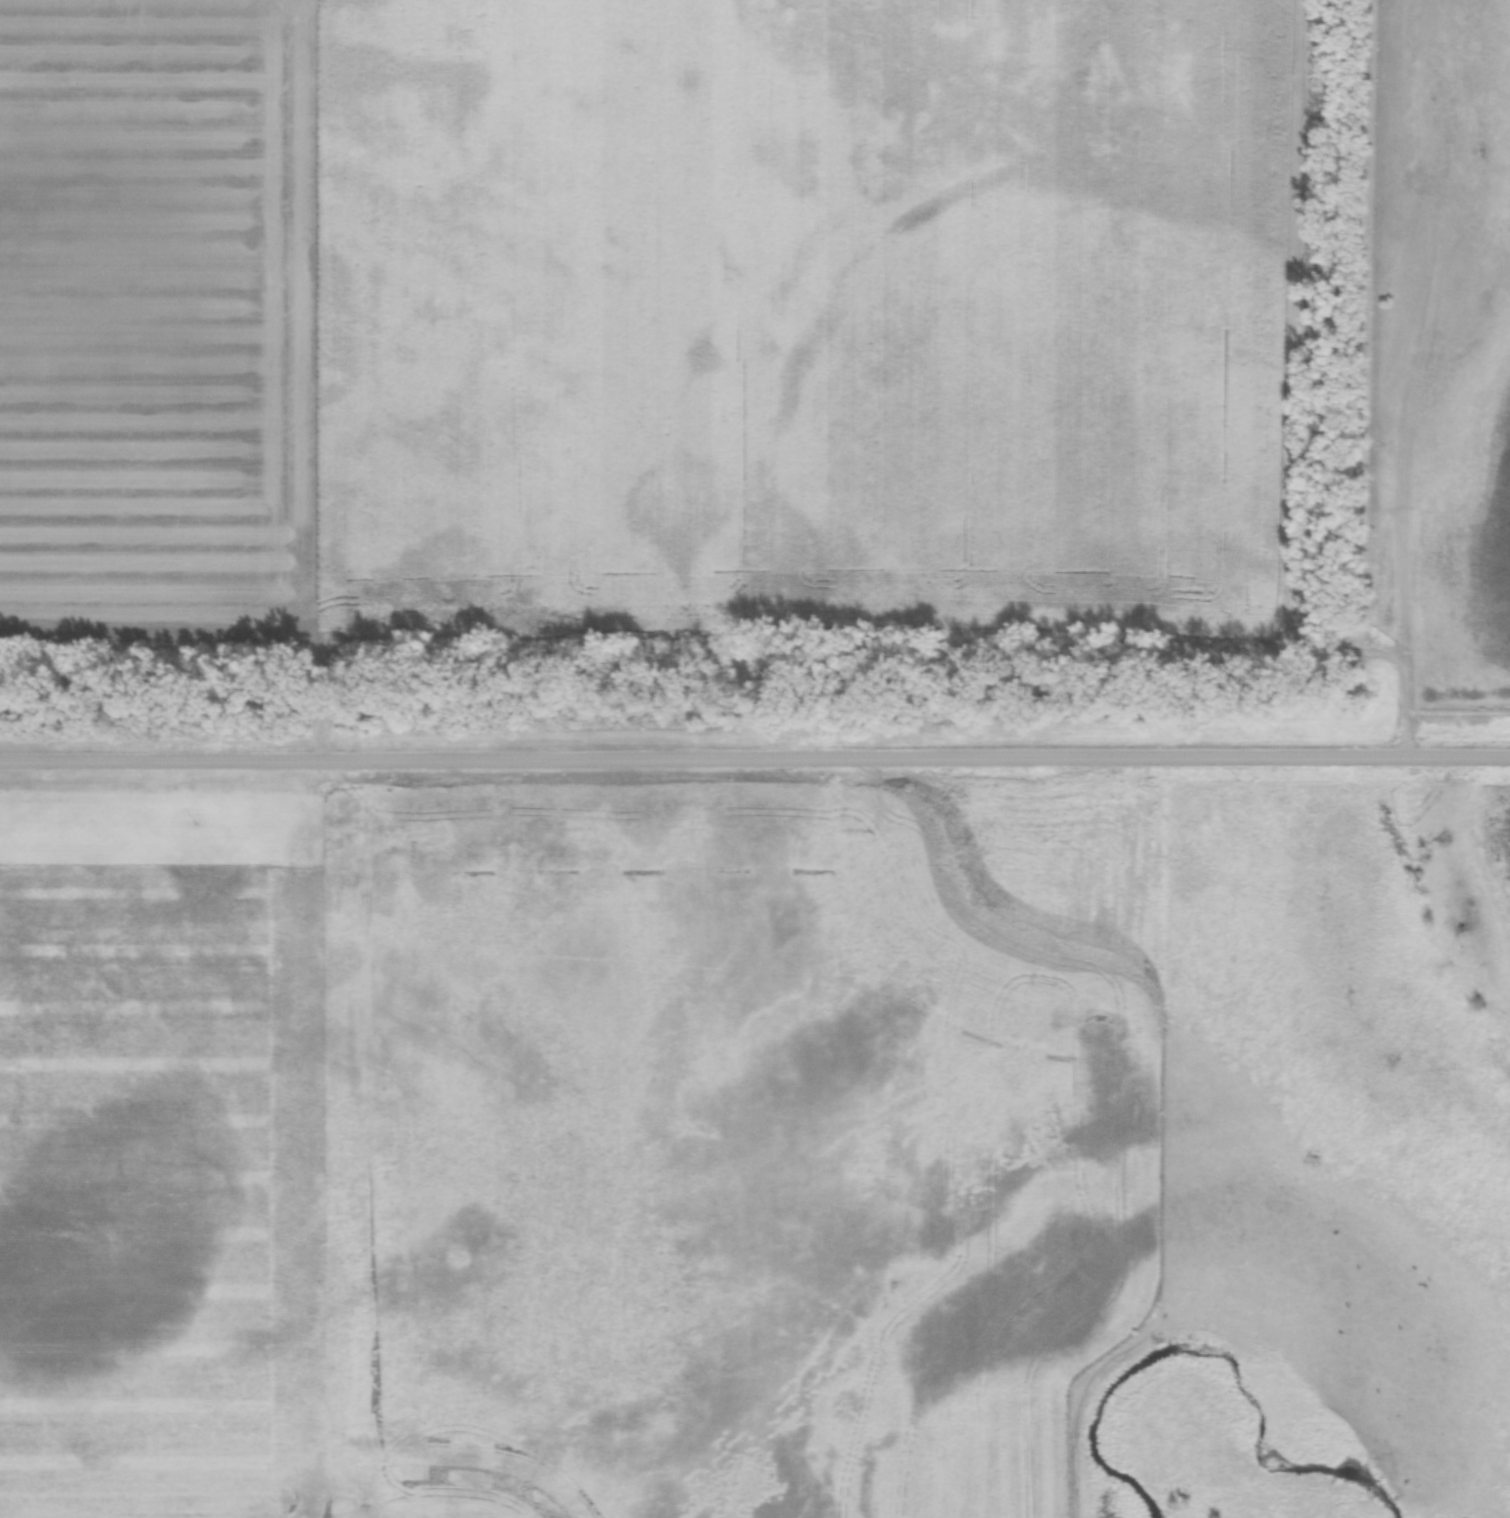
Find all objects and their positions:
crop: (152, 301)
road: (755, 759)

